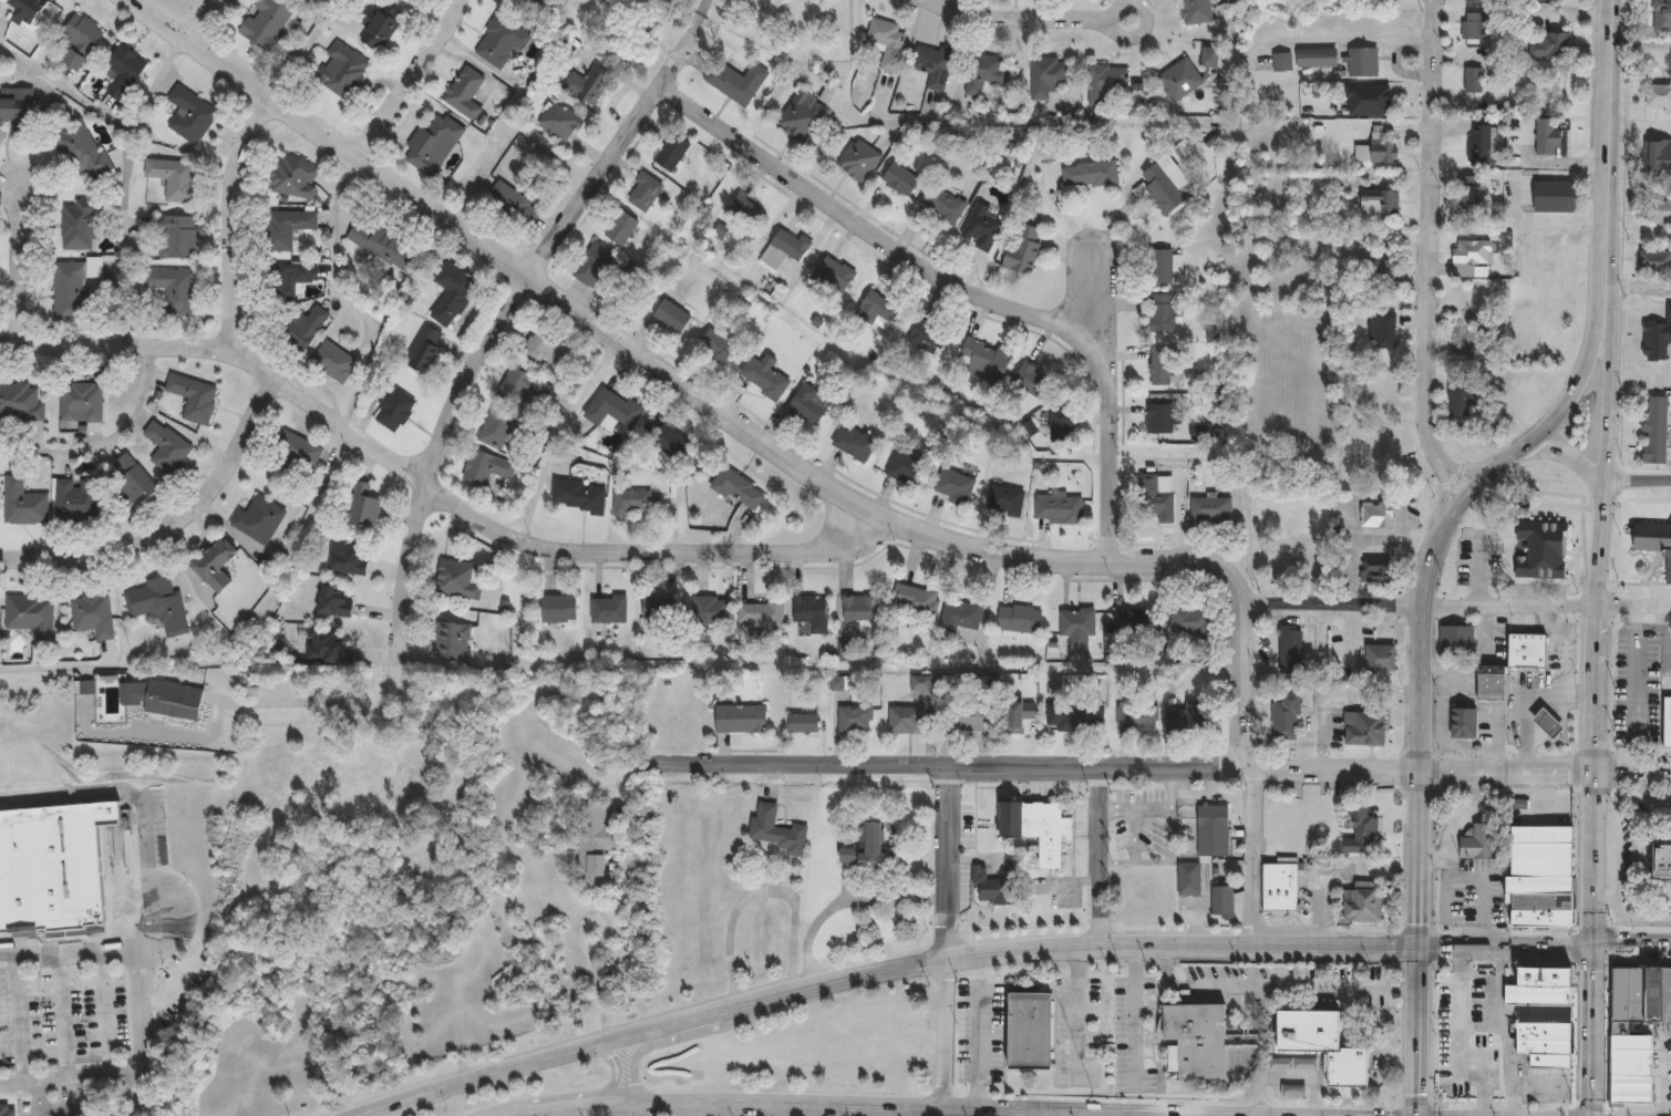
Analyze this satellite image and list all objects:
building: (406, 0)
building: (411, 1)
building: (1477, 1)
building: (30, 9)
building: (1194, 11)
building: (1663, 17)
road: (200, 19)
road: (1044, 20)
building: (265, 22)
building: (1474, 27)
building: (379, 30)
building: (81, 40)
building: (499, 40)
building: (887, 41)
building: (1548, 46)
road: (302, 50)
building: (1208, 58)
building: (1317, 58)
building: (1281, 62)
building: (1361, 63)
building: (932, 65)
building: (341, 70)
building: (125, 72)
building: (984, 72)
building: (1046, 76)
road: (409, 77)
building: (1178, 79)
building: (1473, 80)
building: (730, 82)
building: (587, 84)
building: (1106, 85)
building: (463, 92)
building: (1659, 95)
building: (1366, 100)
building: (17, 104)
building: (189, 115)
building: (801, 116)
road: (112, 120)
building: (559, 122)
road: (974, 123)
road: (1639, 127)
road: (1606, 133)
building: (1547, 137)
road: (303, 141)
building: (432, 143)
building: (1478, 146)
building: (82, 147)
building: (1382, 147)
building: (670, 153)
building: (1655, 153)
building: (858, 161)
building: (1090, 175)
building: (293, 177)
building: (175, 178)
building: (900, 179)
building: (1164, 183)
building: (642, 193)
building: (1555, 196)
building: (1468, 198)
building: (1379, 203)
building: (514, 205)
building: (942, 205)
building: (744, 211)
building: (1660, 214)
road: (231, 217)
building: (80, 224)
building: (981, 226)
road: (1428, 227)
building: (286, 228)
building: (620, 228)
building: (177, 237)
road: (128, 238)
building: (382, 245)
building: (784, 249)
building: (1023, 250)
building: (1471, 252)
building: (1657, 262)
road: (20, 263)
building: (592, 265)
building: (1164, 266)
building: (1384, 276)
building: (831, 278)
building: (283, 280)
building: (174, 288)
road: (958, 288)
road: (1640, 288)
building: (71, 291)
building: (452, 293)
road: (1091, 297)
road: (342, 299)
building: (875, 311)
building: (1164, 312)
building: (671, 316)
building: (1381, 328)
building: (300, 329)
building: (929, 332)
building: (1461, 338)
building: (1658, 341)
road: (484, 347)
building: (543, 347)
building: (714, 348)
building: (424, 350)
building: (983, 361)
building: (332, 362)
building: (1159, 368)
road: (663, 371)
building: (763, 378)
building: (1030, 379)
building: (523, 390)
building: (194, 396)
building: (1462, 397)
building: (21, 402)
building: (82, 402)
building: (808, 404)
building: (394, 410)
building: (611, 410)
building: (1161, 417)
building: (1061, 424)
building: (496, 427)
building: (1658, 431)
road: (555, 432)
building: (661, 440)
road: (107, 441)
building: (853, 443)
building: (167, 446)
building: (293, 454)
road: (1568, 454)
building: (486, 467)
building: (905, 468)
road: (1458, 469)
road: (1638, 478)
building: (130, 479)
road: (427, 483)
building: (955, 486)
road: (1446, 486)
building: (737, 489)
building: (578, 496)
building: (1156, 496)
building: (78, 498)
building: (1003, 499)
building: (636, 502)
building: (24, 503)
building: (360, 505)
building: (1058, 509)
building: (1210, 509)
building: (1376, 514)
building: (258, 519)
road: (1600, 519)
road: (172, 526)
road: (1361, 538)
building: (1653, 538)
building: (1538, 549)
building: (1318, 552)
building: (345, 557)
building: (214, 562)
building: (1378, 570)
building: (1277, 575)
road: (1424, 576)
building: (455, 580)
building: (915, 599)
building: (332, 601)
building: (161, 603)
road: (1632, 603)
road: (1417, 604)
building: (662, 607)
building: (859, 608)
building: (557, 609)
building: (608, 609)
building: (710, 610)
building: (811, 612)
building: (93, 613)
building: (761, 614)
building: (32, 616)
building: (959, 616)
building: (1018, 619)
building: (1131, 622)
building: (1193, 623)
building: (1076, 628)
building: (451, 640)
building: (1456, 640)
building: (322, 645)
road: (1561, 645)
building: (1289, 649)
building: (1527, 651)
building: (1378, 658)
road: (1634, 666)
road: (1110, 668)
road: (55, 669)
building: (1491, 682)
road: (1239, 685)
road: (1516, 694)
building: (163, 696)
road: (316, 702)
building: (969, 714)
building: (1192, 714)
building: (1079, 716)
building: (1136, 716)
building: (1287, 716)
building: (1013, 717)
building: (740, 719)
building: (855, 720)
building: (905, 720)
road: (1536, 720)
building: (1668, 721)
building: (1547, 722)
gas station: (1547, 722)
building: (803, 723)
building: (1464, 723)
building: (1364, 728)
road: (1548, 728)
road: (1118, 768)
road: (1632, 773)
road: (1475, 792)
road: (147, 797)
road: (1133, 807)
road: (1485, 812)
road: (1170, 814)
building: (1036, 827)
building: (775, 828)
building: (1368, 828)
building: (1213, 830)
building: (1477, 839)
building: (871, 844)
building: (592, 849)
road: (1134, 852)
building: (847, 854)
road: (1097, 855)
road: (1251, 856)
road: (1591, 858)
road: (1617, 859)
building: (1660, 859)
road: (1153, 860)
road: (947, 862)
building: (52, 868)
road: (1332, 869)
building: (1538, 875)
building: (1189, 878)
building: (1278, 882)
building: (993, 888)
road: (757, 890)
road: (1444, 890)
road: (1481, 897)
road: (1603, 898)
road: (845, 901)
building: (1221, 901)
building: (1361, 901)
road: (1630, 942)
road: (1213, 943)
road: (582, 944)
traffic signals: (1591, 944)
road: (130, 947)
road: (1399, 947)
traffic signals: (1416, 948)
road: (1504, 949)
road: (994, 950)
road: (856, 973)
road: (1271, 989)
road: (742, 1002)
road: (102, 1010)
road: (60, 1012)
road: (706, 1012)
building: (1539, 1012)
road: (1076, 1013)
road: (1136, 1014)
road: (20, 1016)
road: (1591, 1030)
building: (1620, 1030)
road: (945, 1032)
building: (1031, 1032)
road: (1416, 1032)
building: (1317, 1041)
building: (1197, 1042)
parking lot: (1483, 1042)
road: (976, 1045)
road: (641, 1048)
road: (522, 1062)
building: (1291, 1063)
road: (93, 1071)
road: (1280, 1076)
road: (1660, 1076)
road: (605, 1089)
building: (1294, 1092)
road: (39, 1097)
road: (732, 1100)
road: (589, 1106)
road: (791, 1108)
building: (4, 1109)
road: (1074, 1109)
road: (945, 1112)
road: (1097, 1113)
road: (538, 1114)
traffic signals: (1416, 1115)
road: (1441, 1115)

